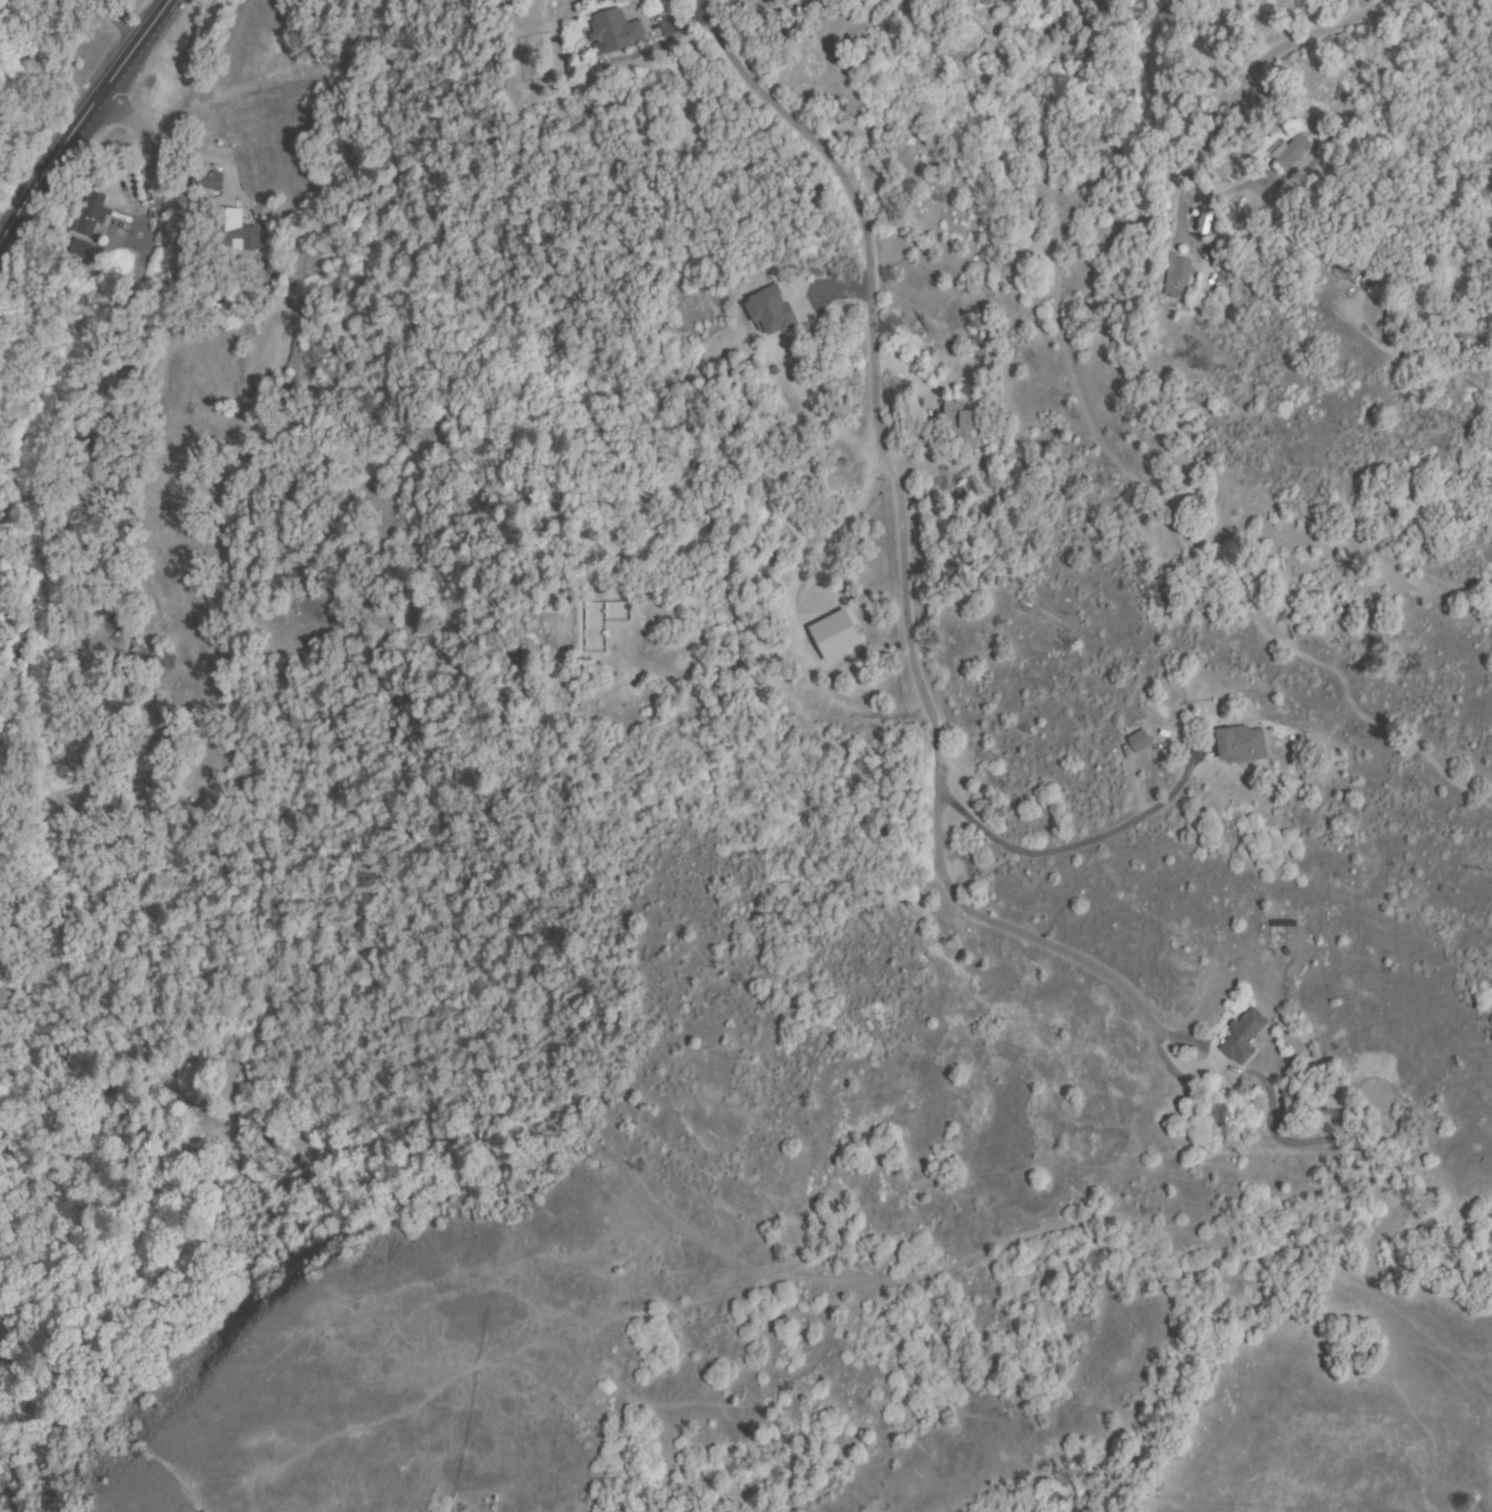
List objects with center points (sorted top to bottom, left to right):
building: (981, 1)
building: (989, 1)
building: (1009, 7)
road: (124, 18)
building: (615, 33)
road: (245, 69)
road: (81, 122)
building: (1292, 151)
building: (207, 180)
building: (90, 215)
building: (1204, 219)
building: (233, 234)
building: (80, 248)
building: (1177, 276)
building: (770, 312)
building: (293, 401)
road: (877, 406)
building: (107, 419)
building: (960, 427)
building: (992, 476)
building: (973, 488)
building: (831, 634)
building: (1139, 742)
building: (1240, 745)
building: (1242, 1037)

